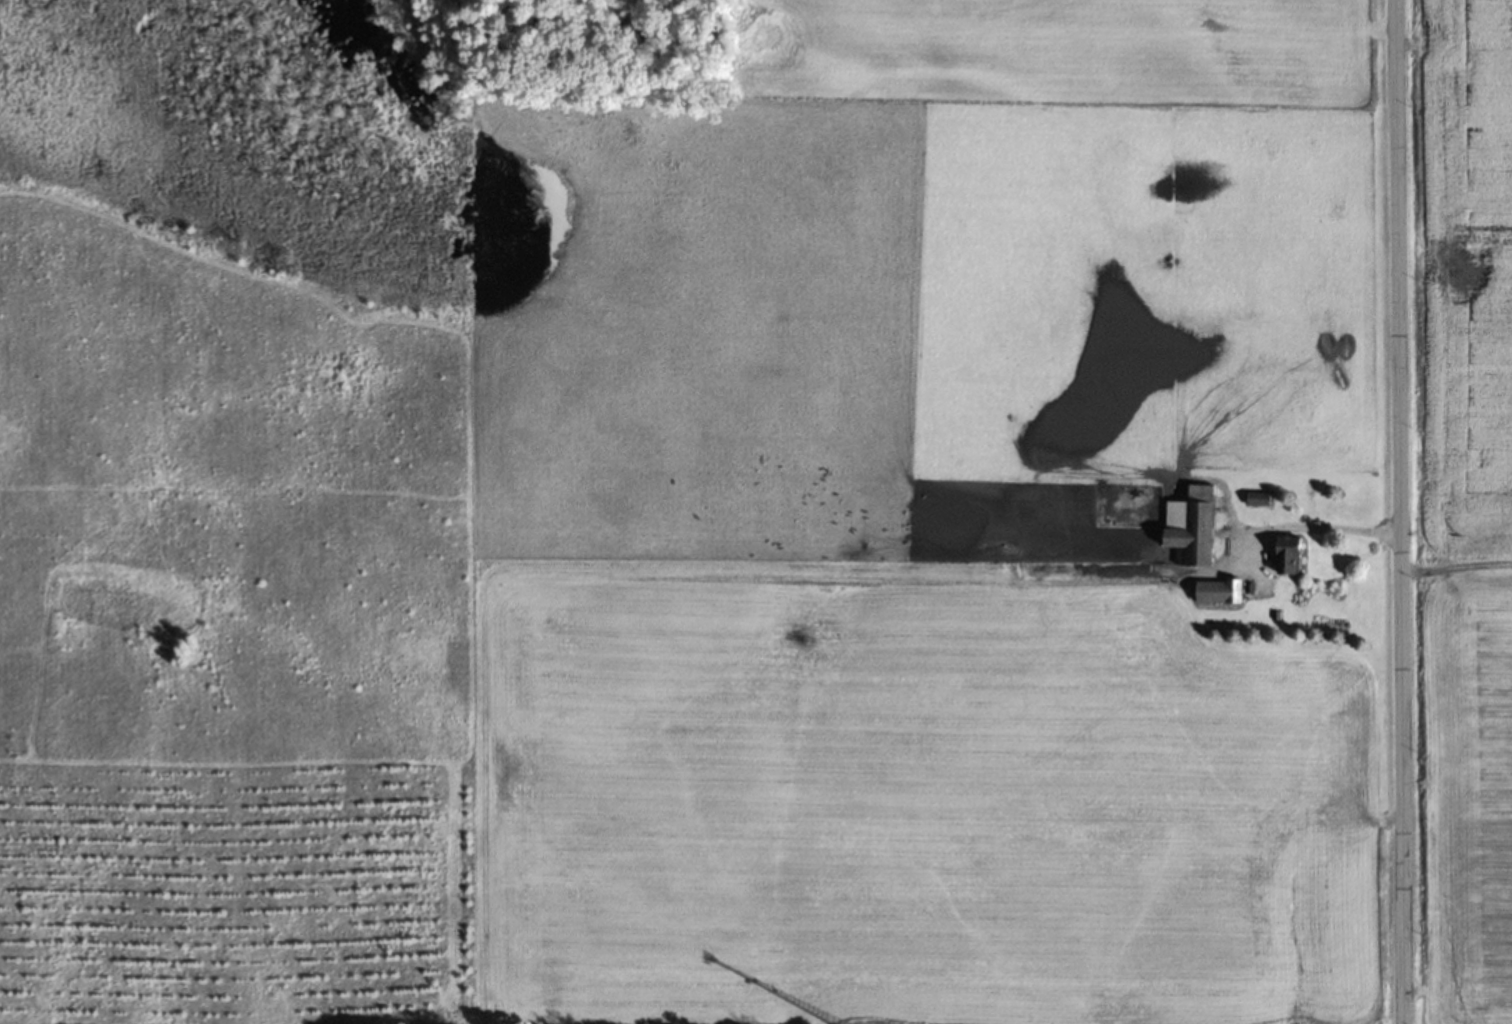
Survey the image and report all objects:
building: (1258, 497)
crop: (1470, 503)
road: (1400, 512)
building: (1190, 524)
road: (1313, 533)
building: (1288, 553)
building: (1218, 589)

